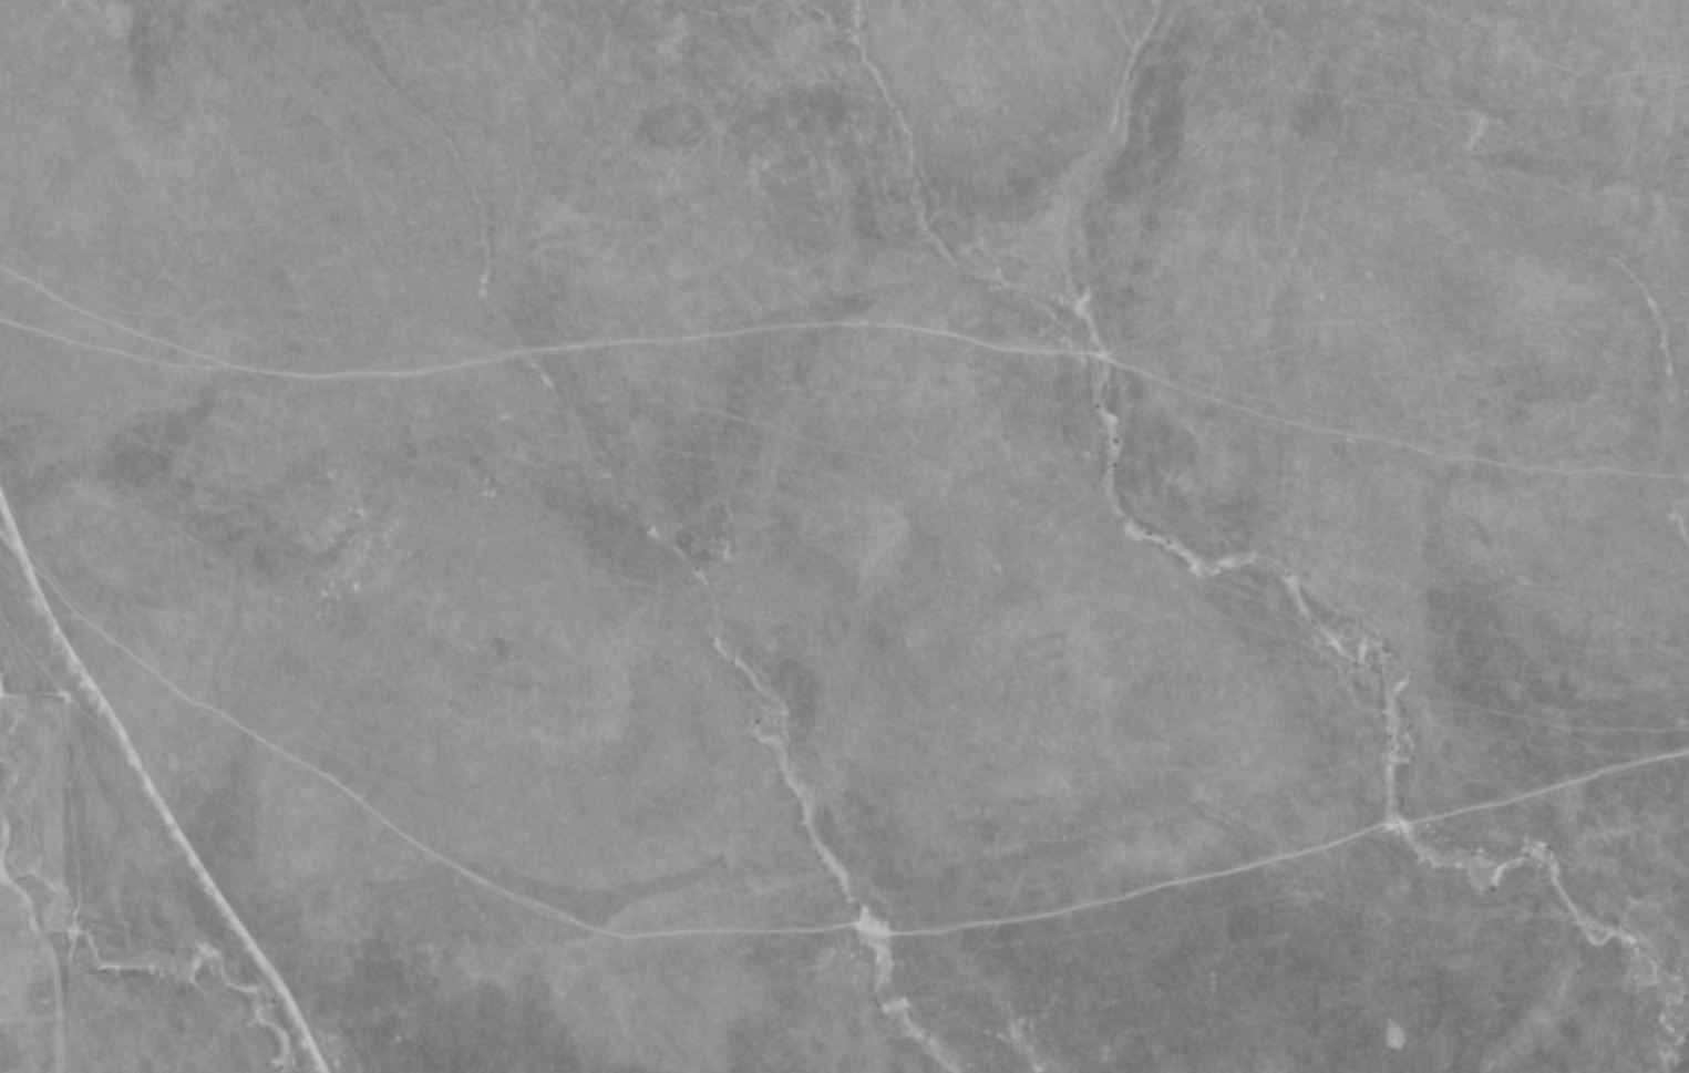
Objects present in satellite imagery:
road: (4, 1049)

